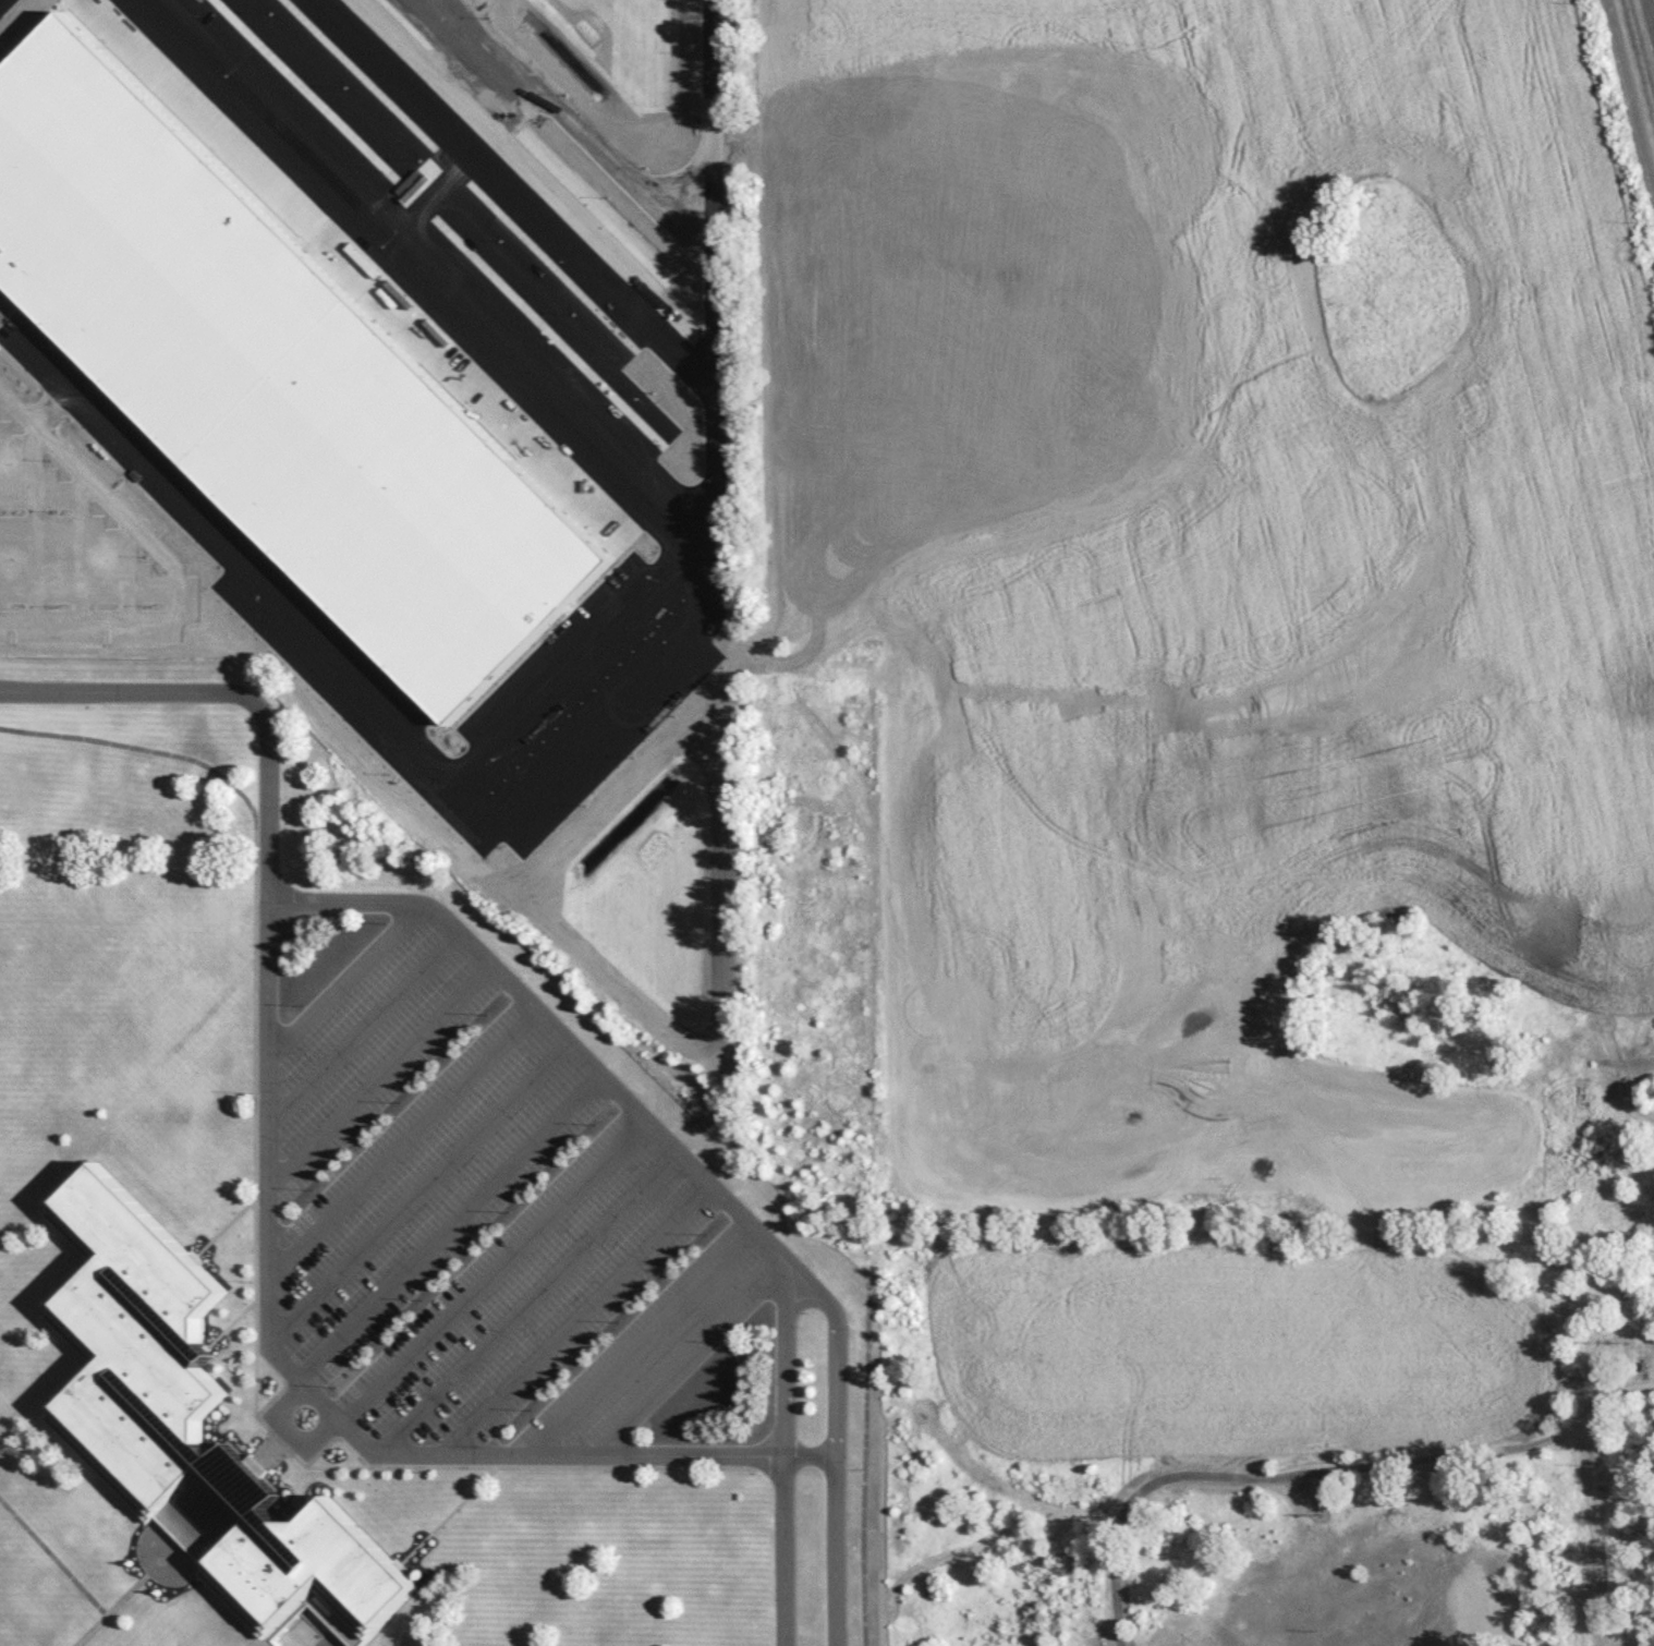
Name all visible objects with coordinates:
road: (1651, 12)
airport: (1646, 29)
road: (1629, 96)
crop: (362, 320)
road: (374, 907)
road: (363, 1025)
road: (378, 1076)
road: (401, 1141)
road: (418, 1188)
parking lot: (477, 1219)
road: (448, 1227)
road: (489, 1271)
road: (521, 1303)
road: (571, 1321)
road: (636, 1346)
road: (685, 1363)
road: (256, 1380)
road: (327, 1412)
building: (191, 1432)
road: (837, 1450)
road: (783, 1460)
road: (1460, 1461)
road: (1126, 1512)
road: (65, 1574)
road: (316, 1639)

